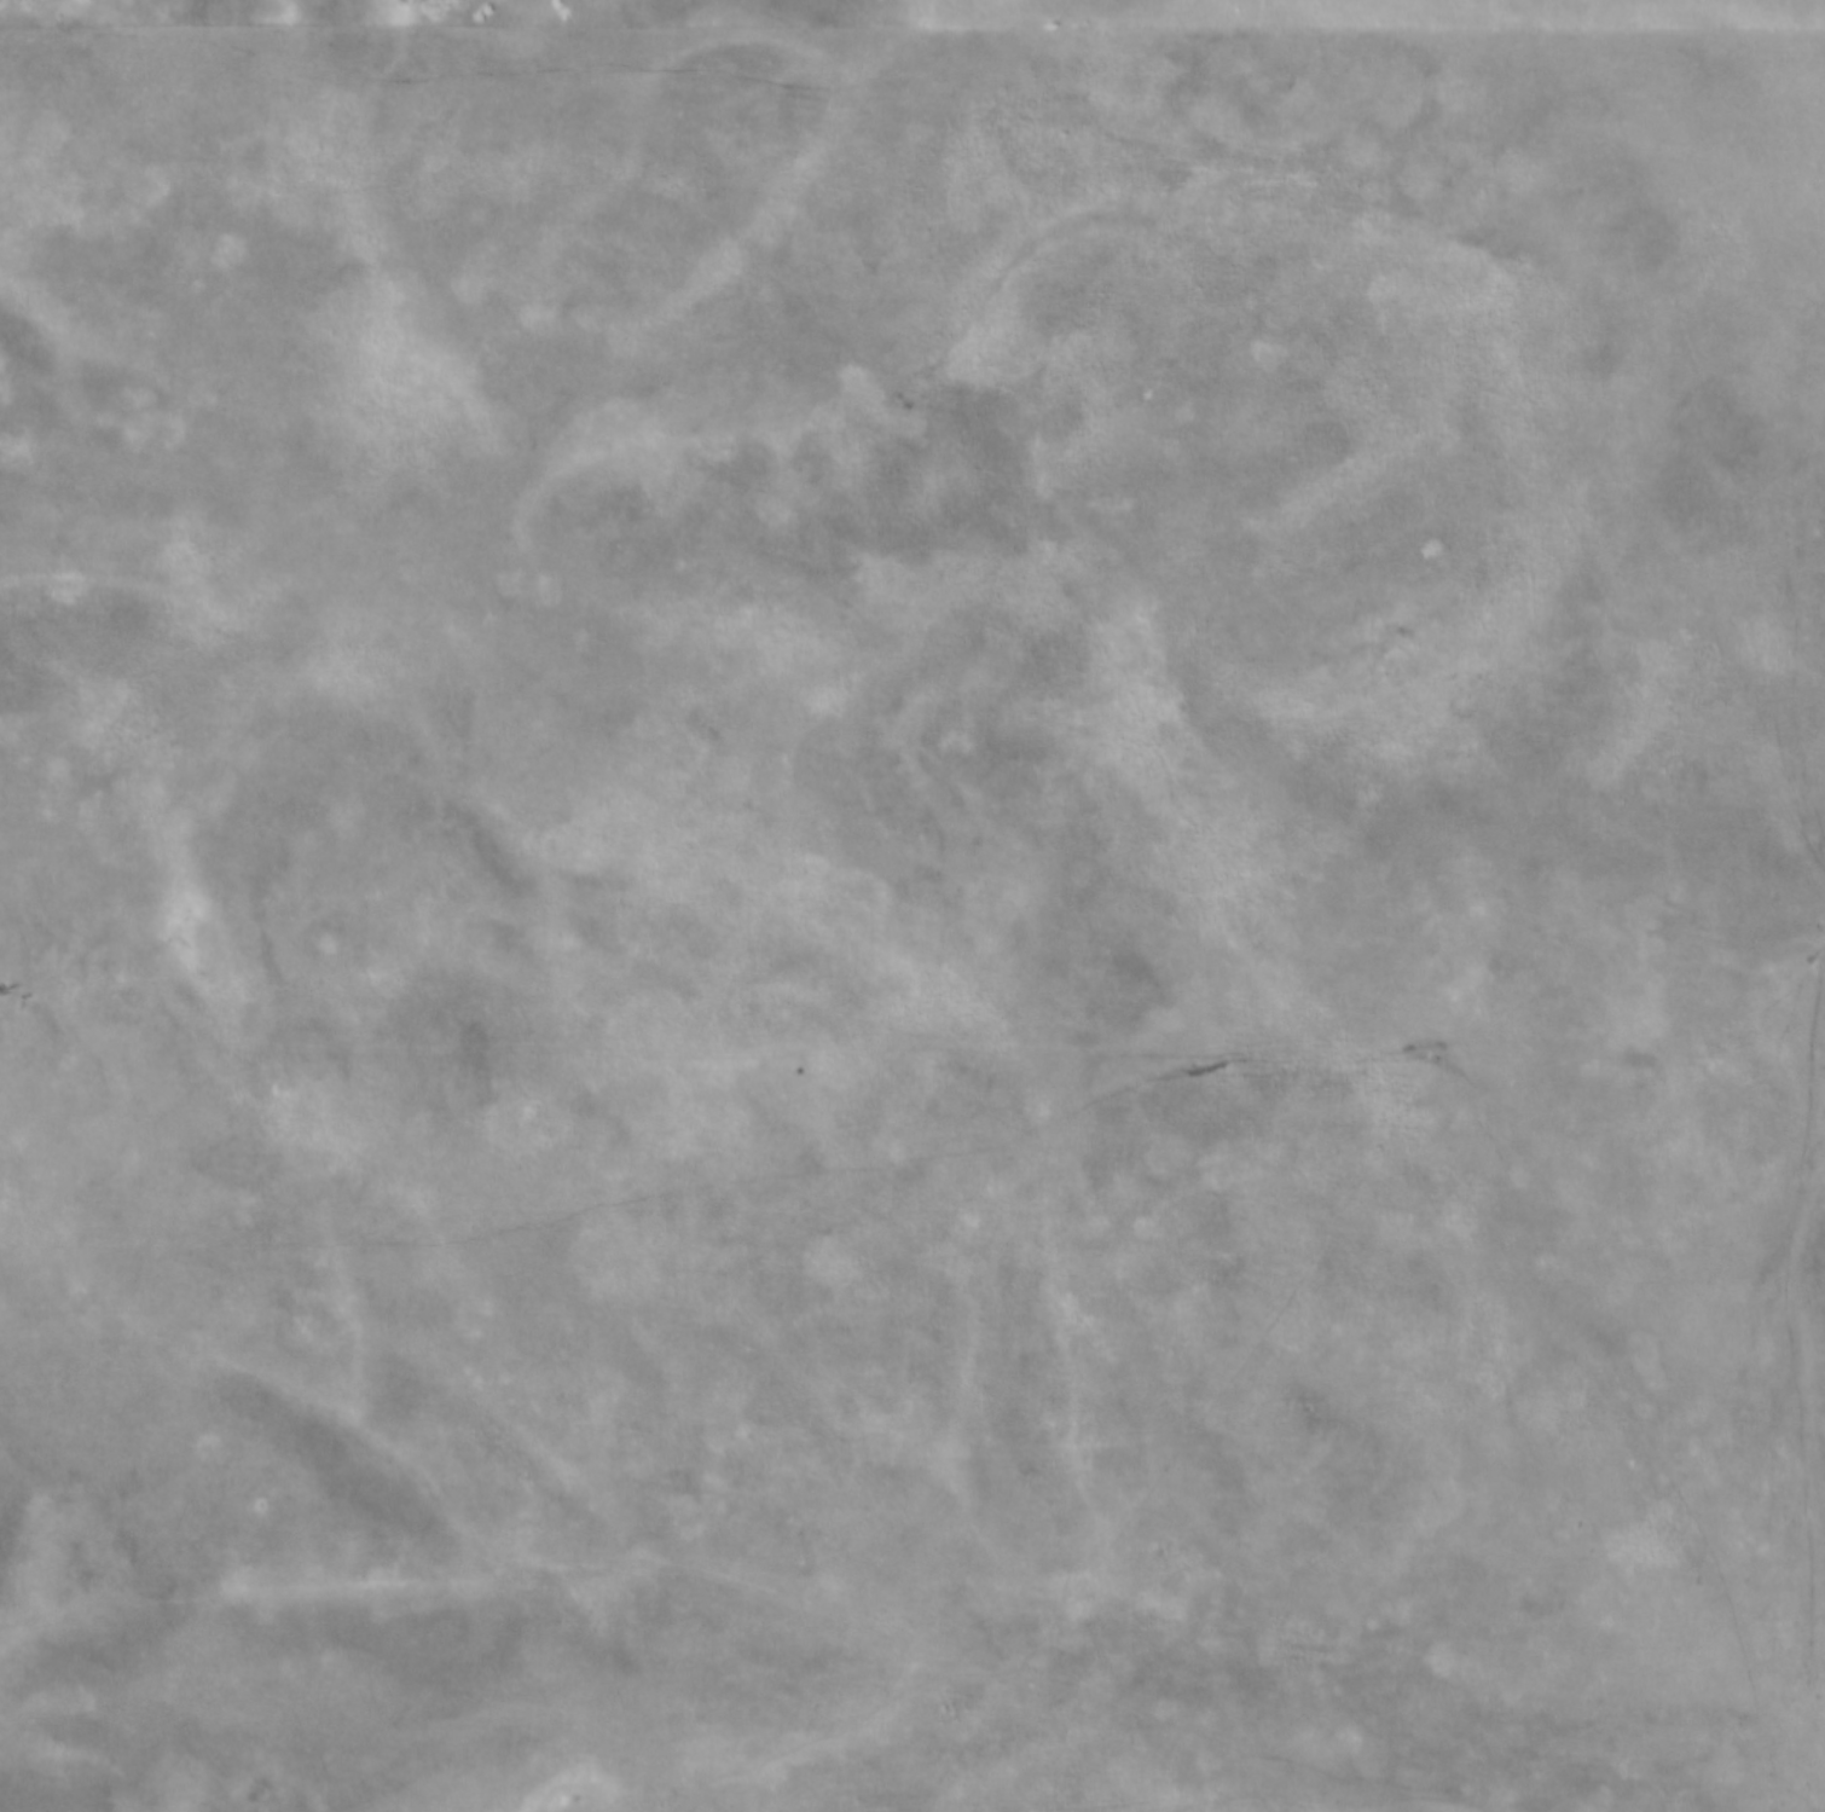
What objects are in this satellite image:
road: (328, 1044)

